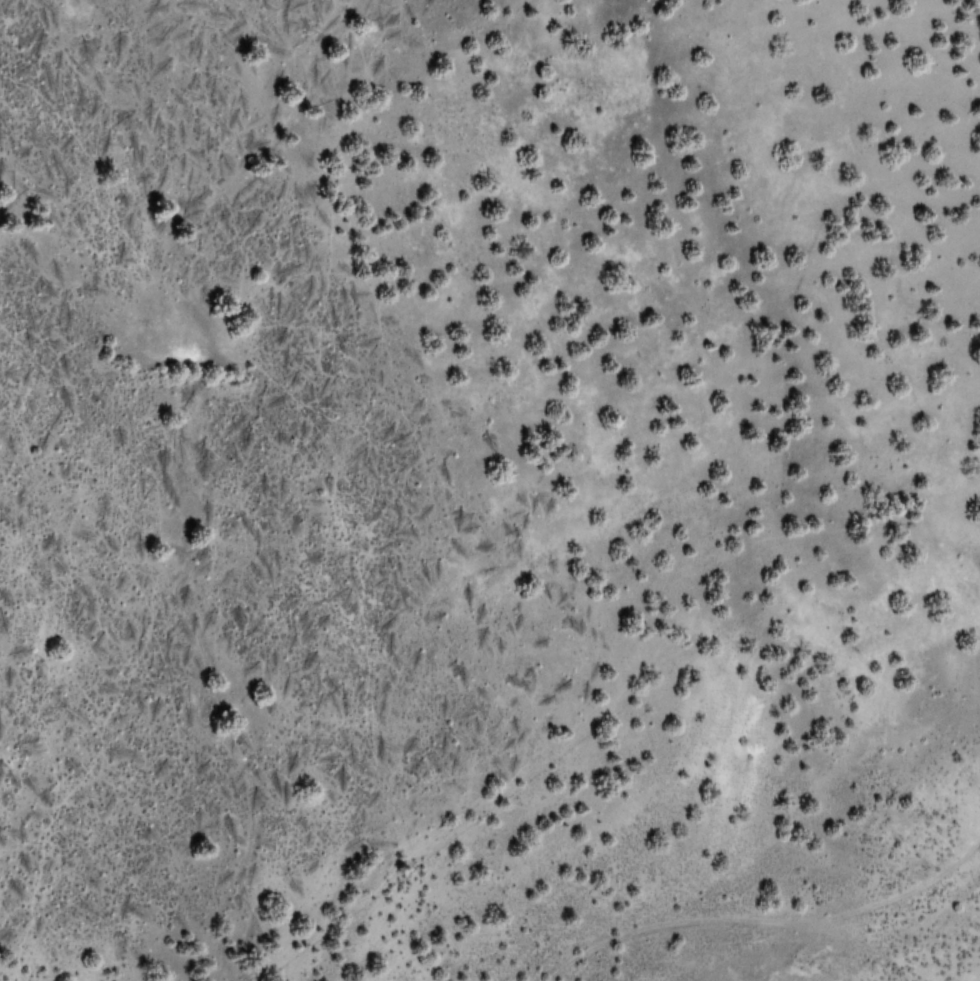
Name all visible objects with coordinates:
road: (812, 925)

